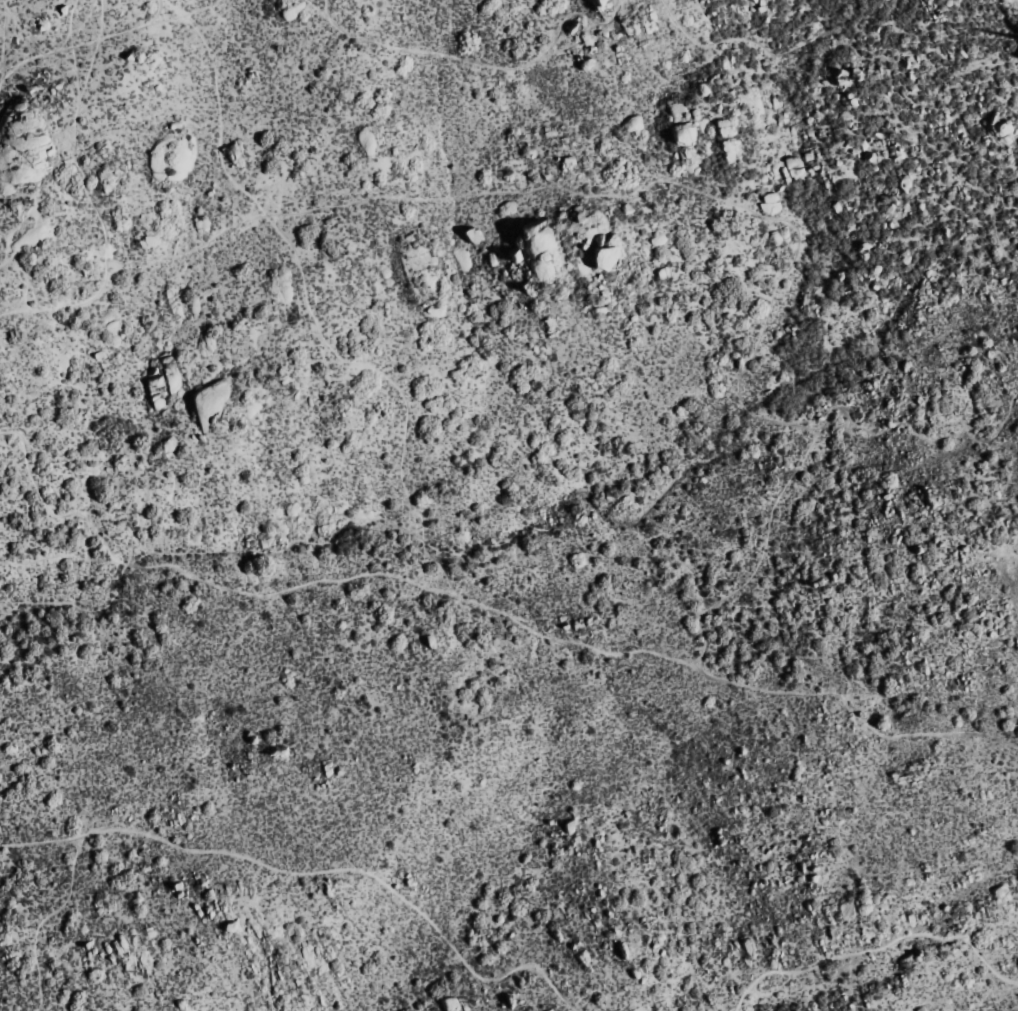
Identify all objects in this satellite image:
building: (602, 4)
road: (113, 34)
road: (481, 62)
road: (883, 63)
building: (632, 124)
building: (1001, 131)
building: (729, 139)
building: (905, 183)
building: (769, 203)
road: (28, 216)
building: (471, 234)
building: (537, 251)
building: (512, 255)
building: (599, 256)
road: (734, 584)
building: (449, 1003)
building: (181, 1006)

